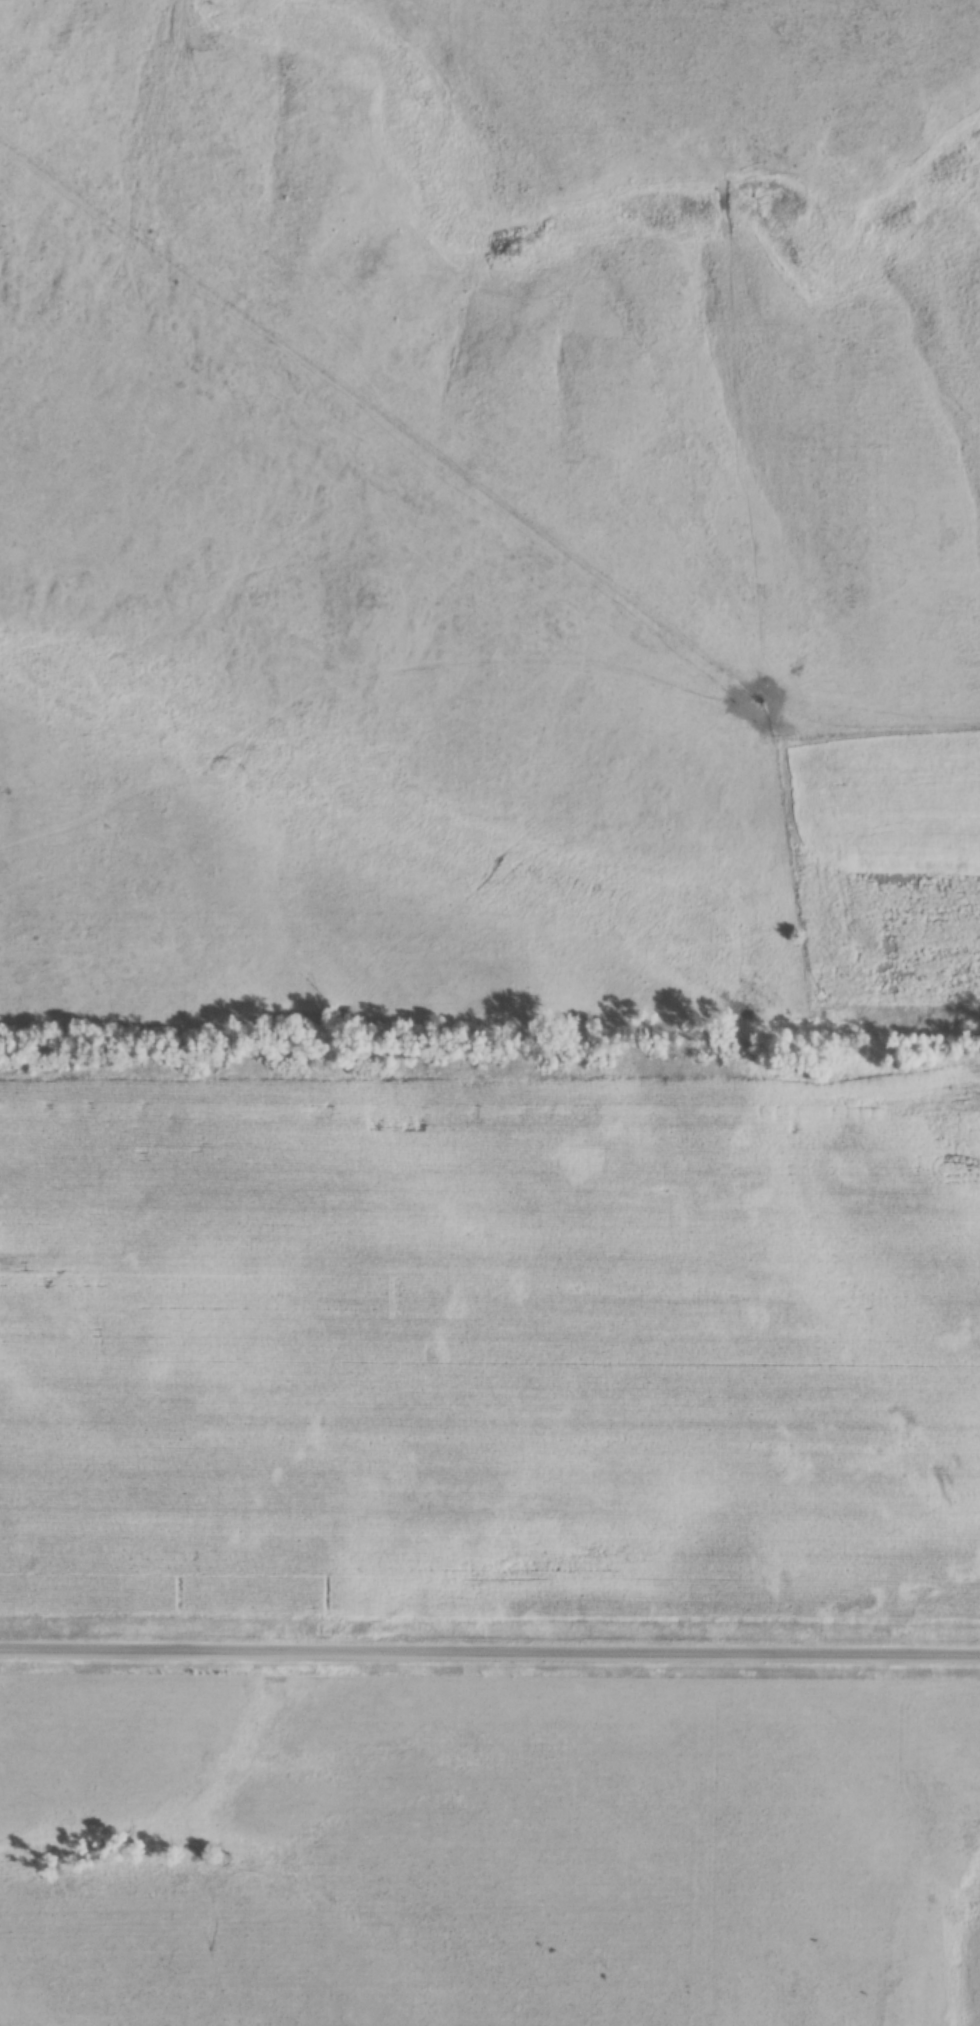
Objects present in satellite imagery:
road: (489, 1656)

